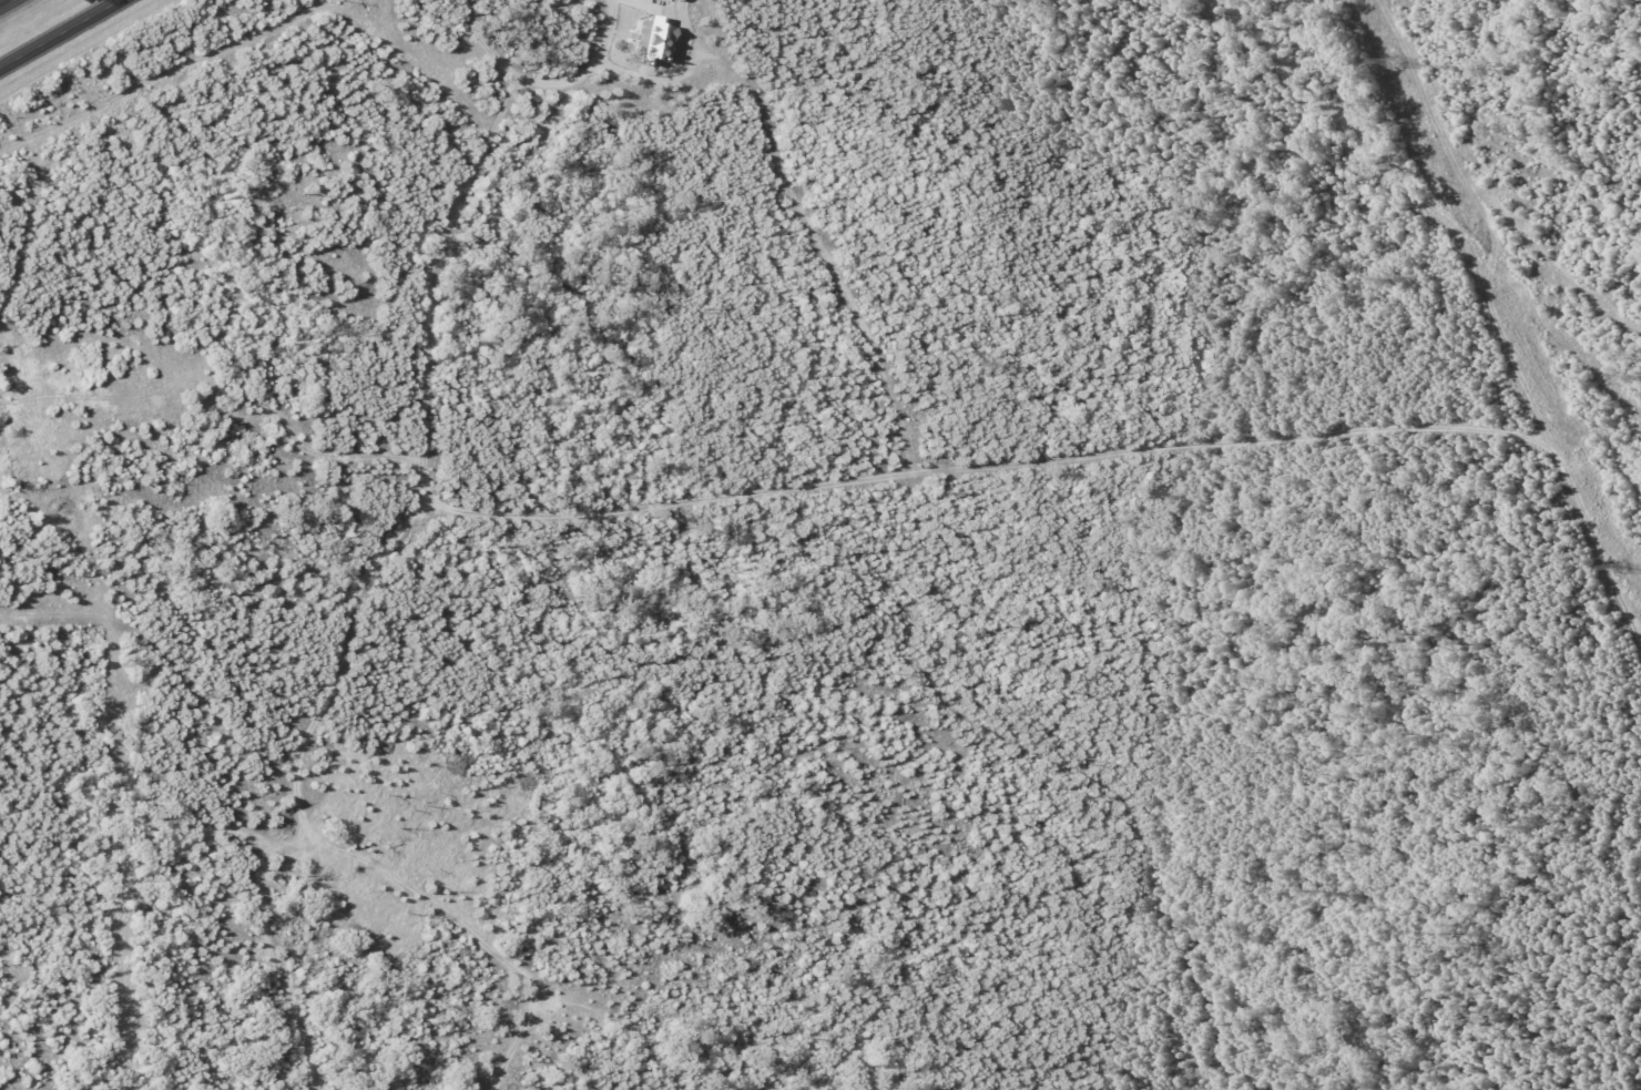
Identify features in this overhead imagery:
building: (673, 0)
road: (4, 2)
road: (58, 32)
building: (650, 43)
power tower: (1396, 62)
road: (546, 81)
road: (1181, 204)
power tower: (1619, 569)

